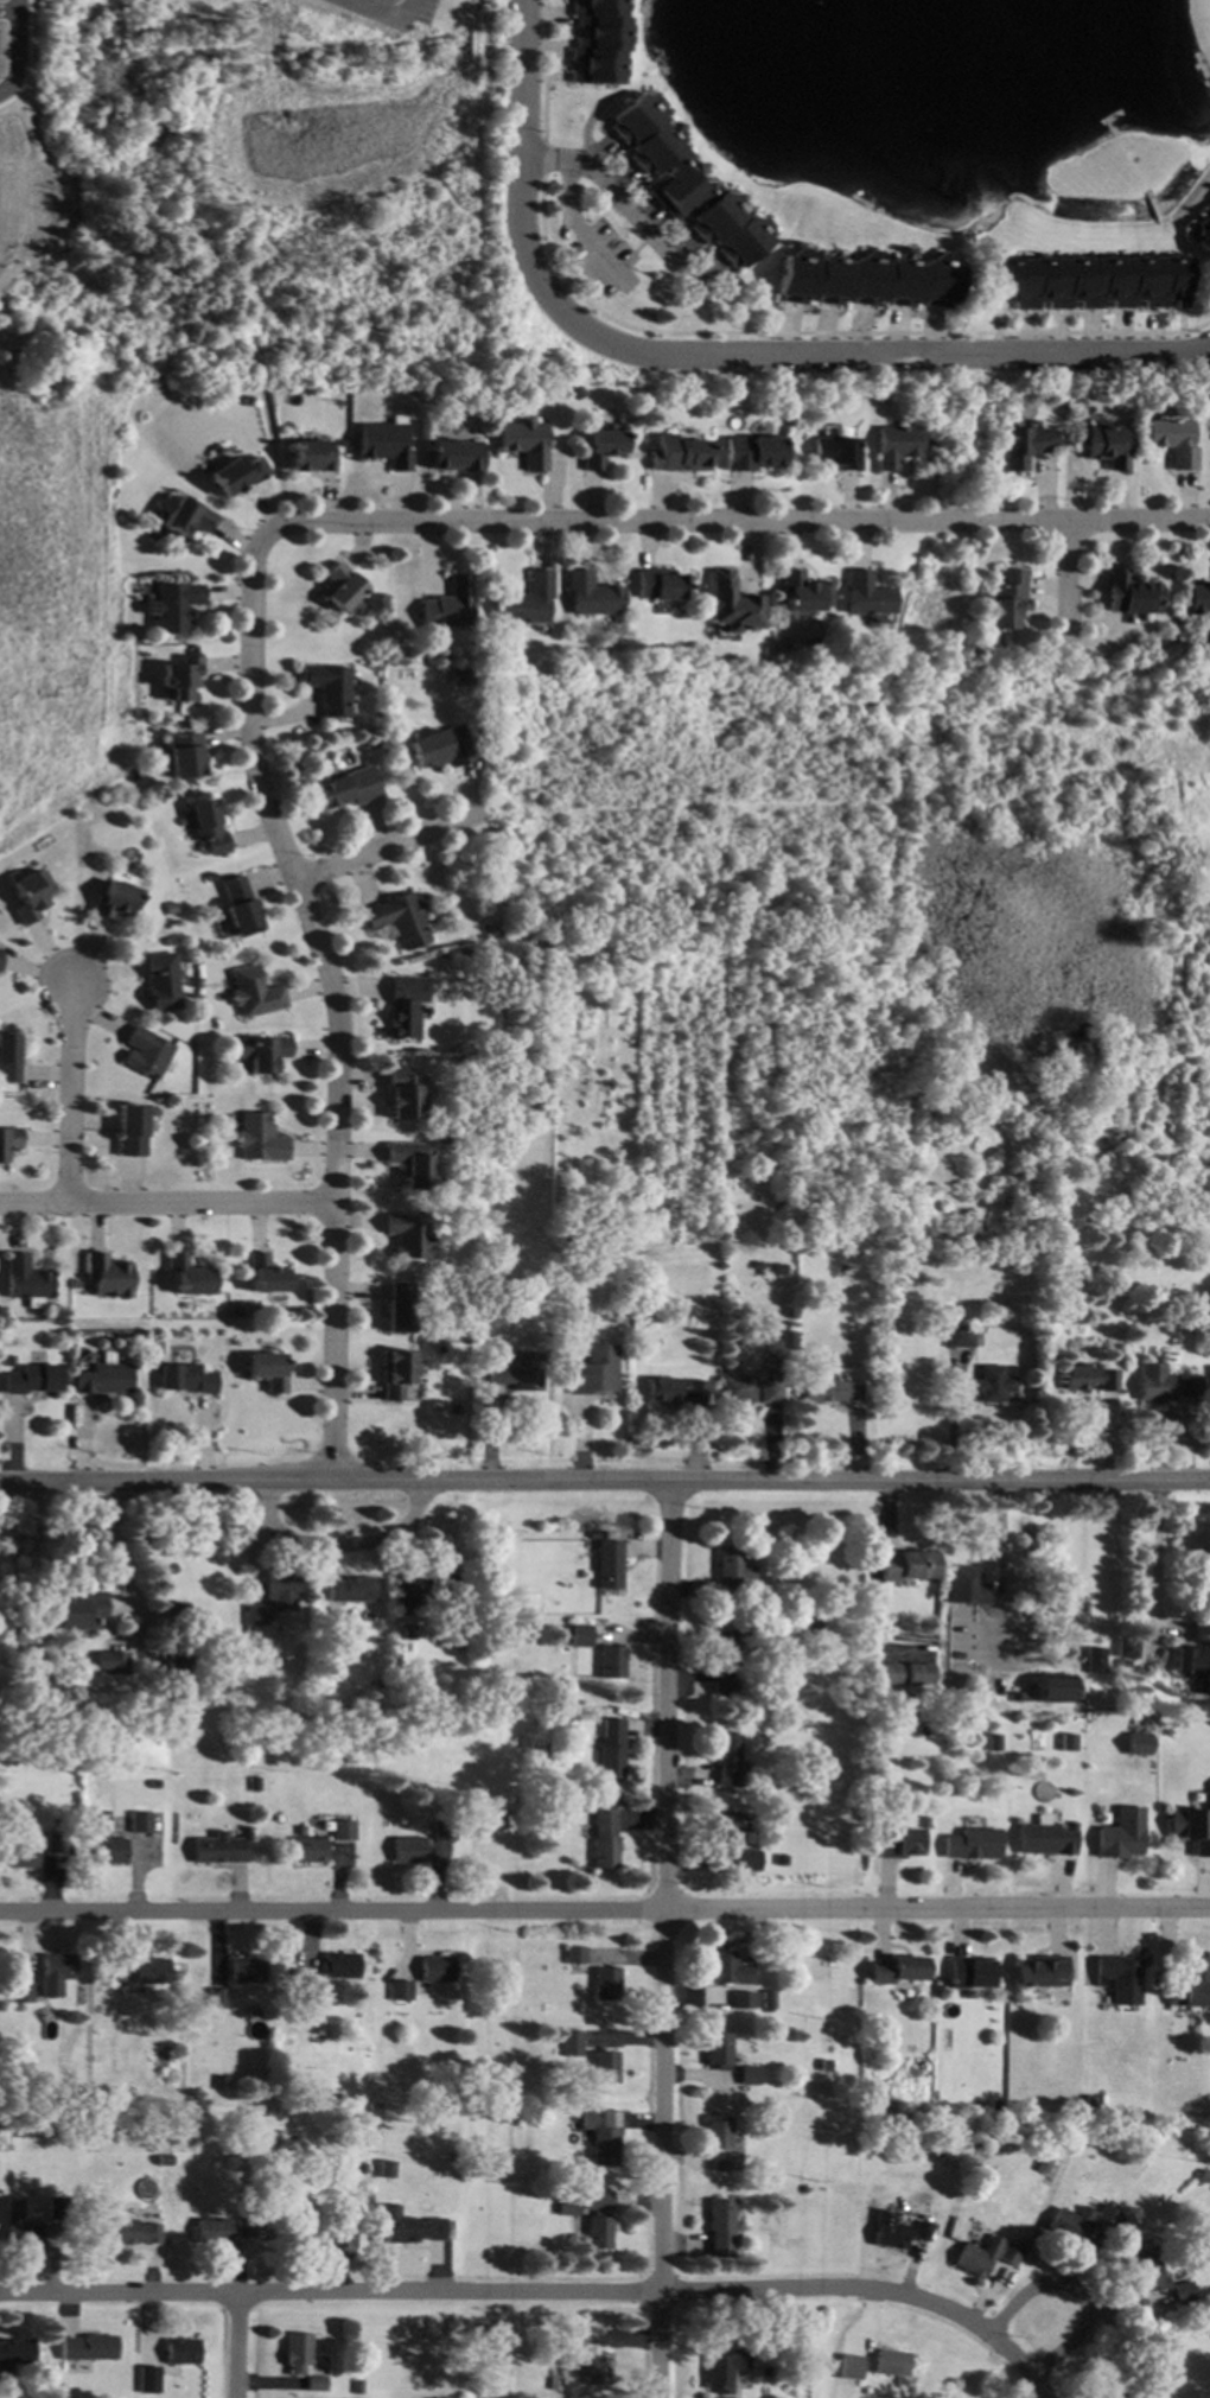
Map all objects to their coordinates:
road: (7, 12)
road: (387, 12)
building: (597, 42)
road: (15, 49)
road: (542, 70)
road: (542, 159)
building: (683, 183)
road: (571, 208)
road: (635, 216)
building: (1202, 235)
building: (866, 280)
building: (1088, 281)
road: (719, 352)
building: (247, 401)
building: (522, 443)
building: (1173, 443)
building: (383, 444)
building: (894, 445)
building: (600, 446)
building: (1021, 446)
building: (1106, 446)
building: (215, 451)
building: (751, 453)
building: (835, 453)
road: (273, 454)
building: (454, 454)
building: (677, 454)
building: (311, 457)
building: (236, 475)
building: (186, 517)
road: (728, 520)
road: (1070, 581)
building: (658, 584)
building: (339, 589)
building: (801, 592)
building: (1131, 593)
building: (590, 594)
building: (867, 596)
building: (1198, 598)
building: (1006, 600)
building: (524, 602)
building: (731, 604)
building: (446, 605)
building: (174, 608)
building: (476, 648)
building: (181, 678)
building: (465, 678)
building: (329, 688)
building: (440, 748)
building: (185, 756)
building: (348, 789)
building: (208, 826)
road: (386, 846)
building: (31, 896)
building: (115, 901)
building: (238, 907)
building: (170, 909)
building: (396, 920)
building: (491, 933)
building: (0, 953)
building: (160, 981)
building: (254, 992)
road: (339, 1004)
building: (403, 1006)
building: (146, 1052)
building: (266, 1054)
building: (8, 1058)
road: (71, 1089)
building: (402, 1094)
building: (132, 1131)
building: (260, 1139)
building: (8, 1143)
building: (758, 1143)
building: (410, 1164)
road: (167, 1198)
building: (967, 1234)
building: (409, 1236)
building: (769, 1268)
building: (266, 1274)
building: (109, 1276)
building: (189, 1276)
building: (25, 1280)
building: (1185, 1304)
building: (400, 1306)
building: (237, 1312)
building: (498, 1315)
building: (843, 1328)
building: (961, 1337)
building: (8, 1361)
building: (268, 1370)
building: (596, 1372)
building: (521, 1373)
building: (396, 1374)
building: (32, 1379)
building: (186, 1379)
building: (1089, 1379)
building: (102, 1380)
building: (1209, 1380)
building: (1164, 1384)
building: (993, 1385)
building: (773, 1388)
building: (676, 1391)
building: (737, 1391)
building: (830, 1391)
building: (458, 1407)
road: (953, 1417)
road: (604, 1481)
road: (342, 1525)
building: (594, 1534)
road: (1000, 1545)
road: (1159, 1553)
building: (609, 1565)
building: (907, 1566)
building: (731, 1572)
building: (966, 1586)
building: (442, 1589)
building: (351, 1590)
building: (282, 1591)
building: (407, 1598)
building: (82, 1604)
building: (172, 1613)
building: (255, 1617)
building: (128, 1622)
building: (592, 1629)
building: (566, 1630)
building: (408, 1631)
building: (1127, 1648)
building: (724, 1649)
building: (1191, 1660)
building: (1096, 1661)
building: (112, 1662)
building: (178, 1662)
building: (612, 1662)
building: (1123, 1664)
building: (886, 1674)
building: (918, 1675)
building: (1202, 1687)
building: (1055, 1688)
building: (724, 1691)
building: (1015, 1697)
building: (922, 1730)
building: (517, 1739)
building: (995, 1742)
building: (1066, 1742)
building: (611, 1750)
building: (726, 1757)
building: (814, 1776)
building: (154, 1783)
building: (255, 1785)
building: (141, 1824)
building: (50, 1826)
building: (725, 1828)
building: (1191, 1830)
building: (342, 1831)
building: (442, 1831)
building: (1121, 1834)
building: (603, 1837)
building: (1044, 1839)
building: (106, 1842)
building: (898, 1842)
building: (56, 1844)
building: (973, 1844)
building: (219, 1849)
building: (308, 1850)
building: (407, 1850)
building: (20, 1856)
building: (747, 1860)
building: (782, 1860)
road: (605, 1910)
road: (667, 1940)
building: (574, 1955)
building: (287, 1963)
building: (339, 1966)
building: (58, 1967)
building: (728, 1968)
building: (434, 1970)
building: (897, 1970)
building: (152, 1971)
building: (246, 1971)
building: (287, 1972)
building: (1043, 1972)
building: (116, 1973)
building: (969, 1973)
building: (1120, 1978)
building: (606, 1984)
building: (1192, 1986)
building: (302, 1987)
building: (397, 1990)
building: (21, 1993)
building: (333, 1993)
building: (216, 1998)
building: (768, 1999)
building: (741, 2001)
building: (549, 2006)
building: (332, 2031)
building: (572, 2044)
building: (717, 2049)
building: (824, 2066)
building: (605, 2067)
building: (747, 2075)
building: (221, 2082)
building: (1090, 2103)
building: (995, 2106)
building: (1019, 2107)
building: (715, 2132)
building: (600, 2137)
building: (2, 2142)
building: (164, 2161)
building: (720, 2162)
building: (1043, 2168)
building: (358, 2169)
building: (384, 2170)
building: (55, 2208)
building: (567, 2208)
building: (254, 2209)
building: (1107, 2216)
building: (344, 2219)
building: (597, 2219)
building: (1069, 2224)
building: (18, 2227)
building: (407, 2227)
building: (719, 2227)
building: (242, 2228)
building: (922, 2230)
building: (211, 2231)
building: (887, 2231)
building: (127, 2233)
building: (304, 2234)
building: (1010, 2254)
building: (979, 2257)
building: (1148, 2270)
road: (499, 2292)
building: (1183, 2292)
road: (1011, 2309)
road: (1087, 2317)
building: (574, 2334)
road: (230, 2346)
building: (88, 2348)
building: (15, 2351)
building: (180, 2351)
building: (295, 2352)
road: (1024, 2361)
building: (891, 2362)
building: (851, 2367)
building: (597, 2368)
building: (722, 2368)
building: (146, 2371)
building: (314, 2384)
building: (554, 2384)
building: (1107, 2385)
building: (358, 2386)
building: (60, 2389)
building: (1144, 2397)

